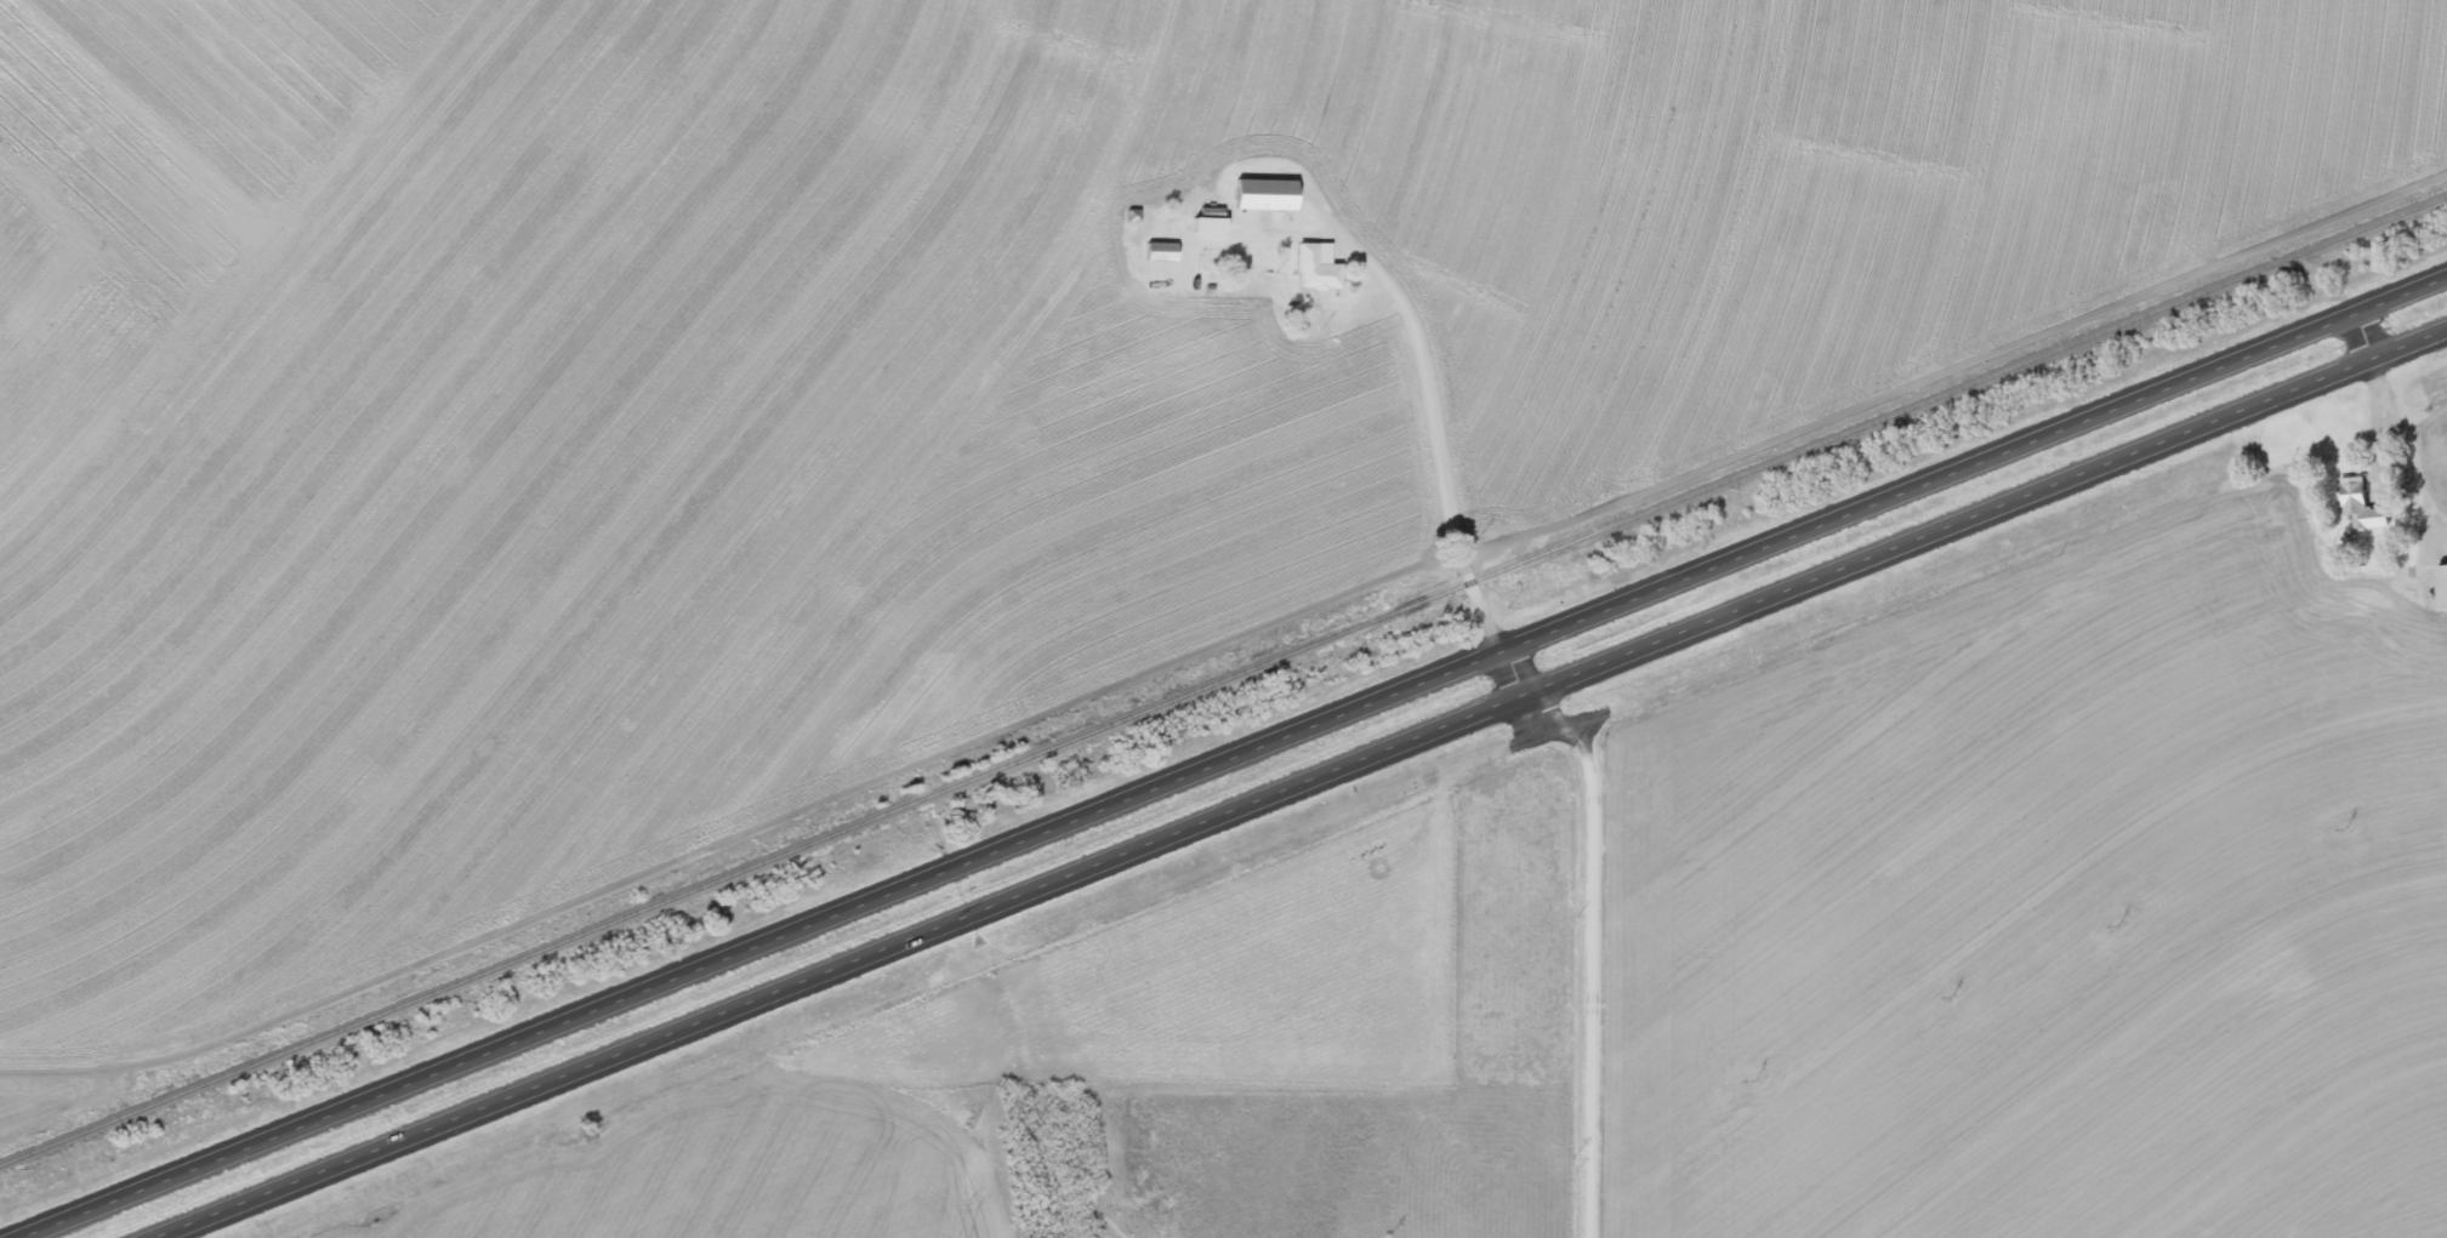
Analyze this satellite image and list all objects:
building: (1263, 194)
building: (2362, 503)
building: (2442, 586)
railway: (1223, 680)
road: (2024, 690)
road: (1247, 765)
road: (1314, 788)
road: (1601, 940)
road: (1085, 1043)

